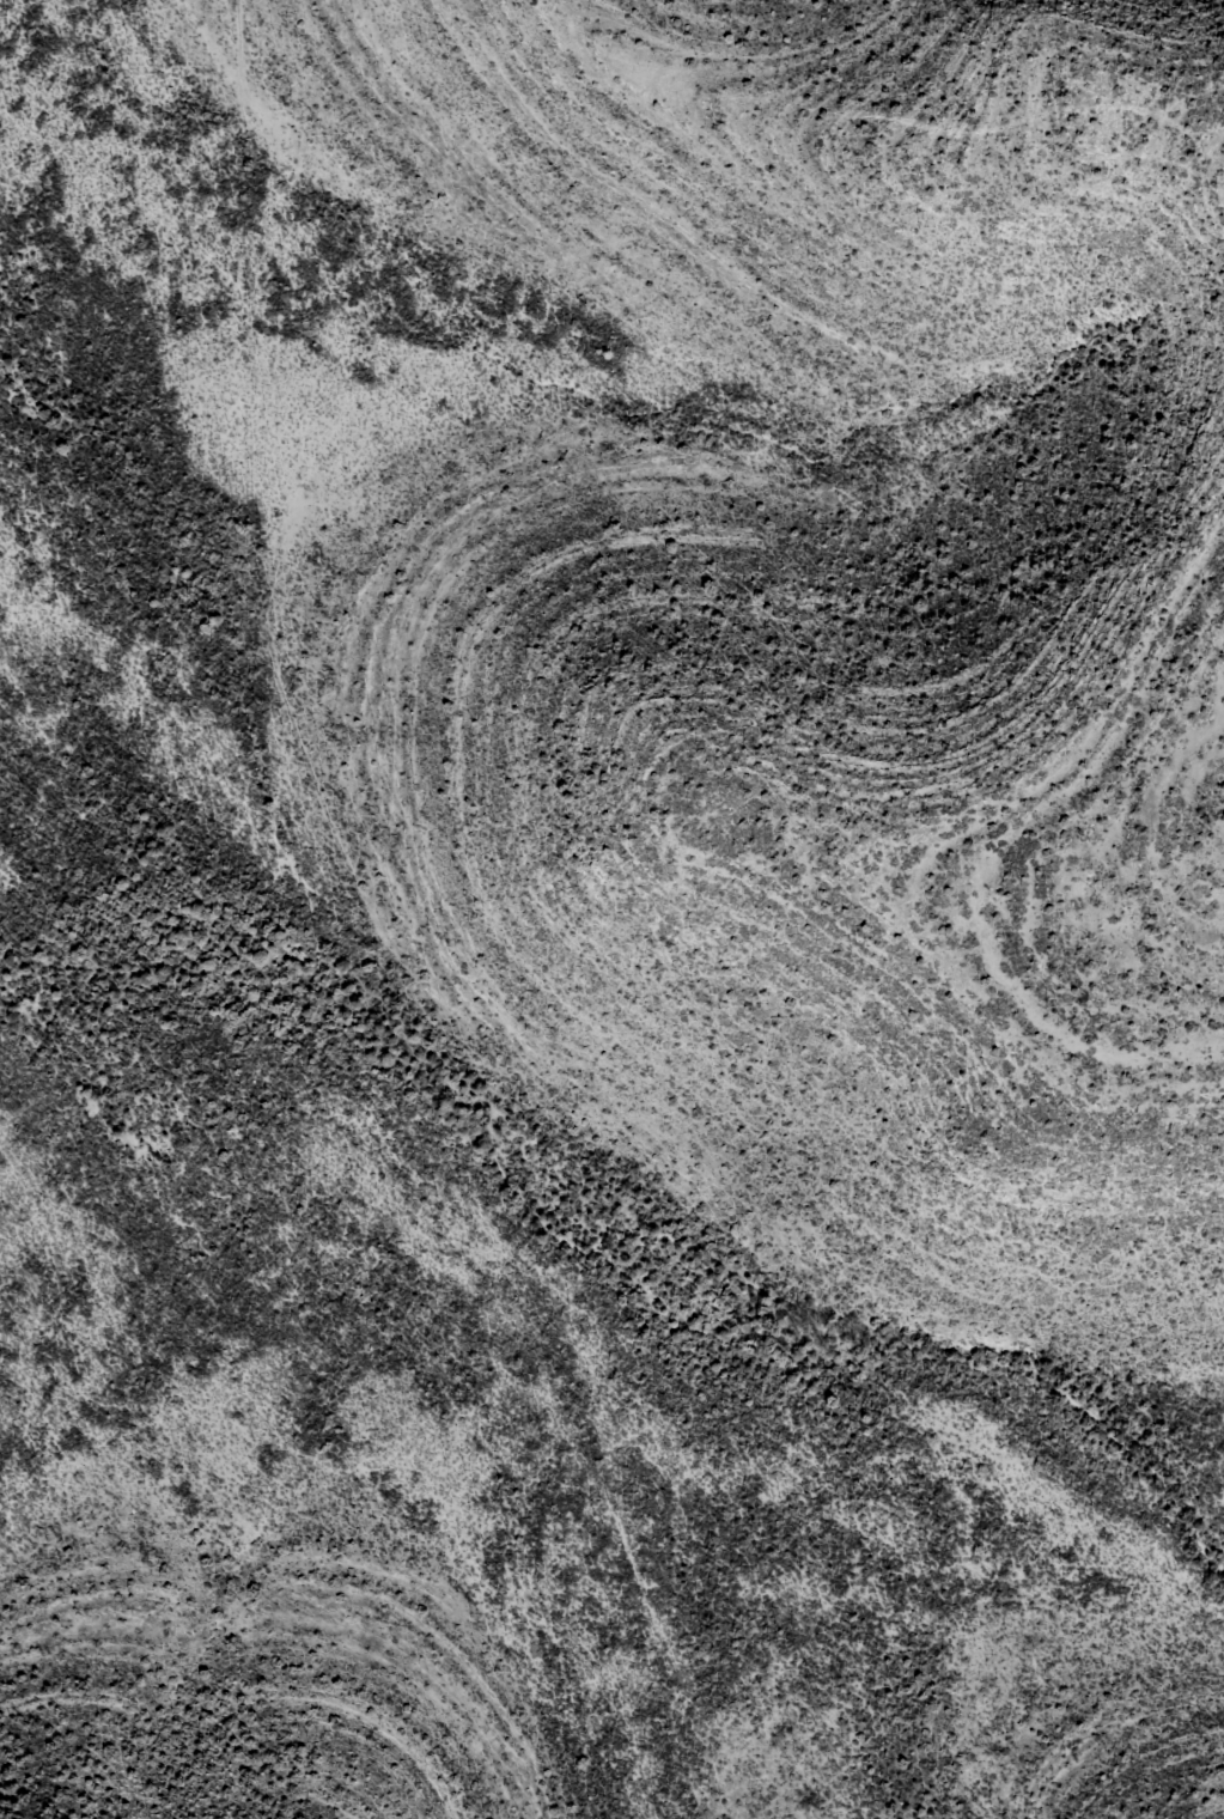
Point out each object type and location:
road: (322, 944)

